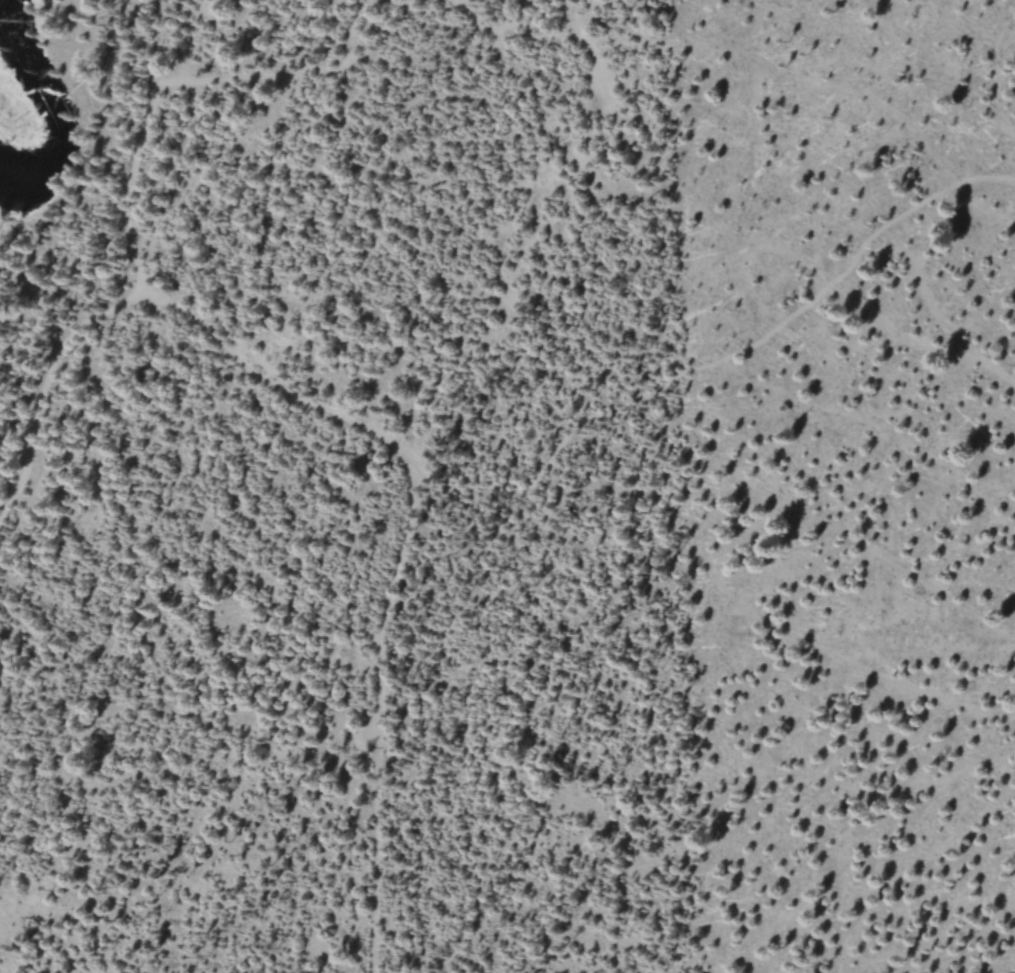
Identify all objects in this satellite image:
river: (33, 99)
road: (49, 376)
road: (291, 464)

